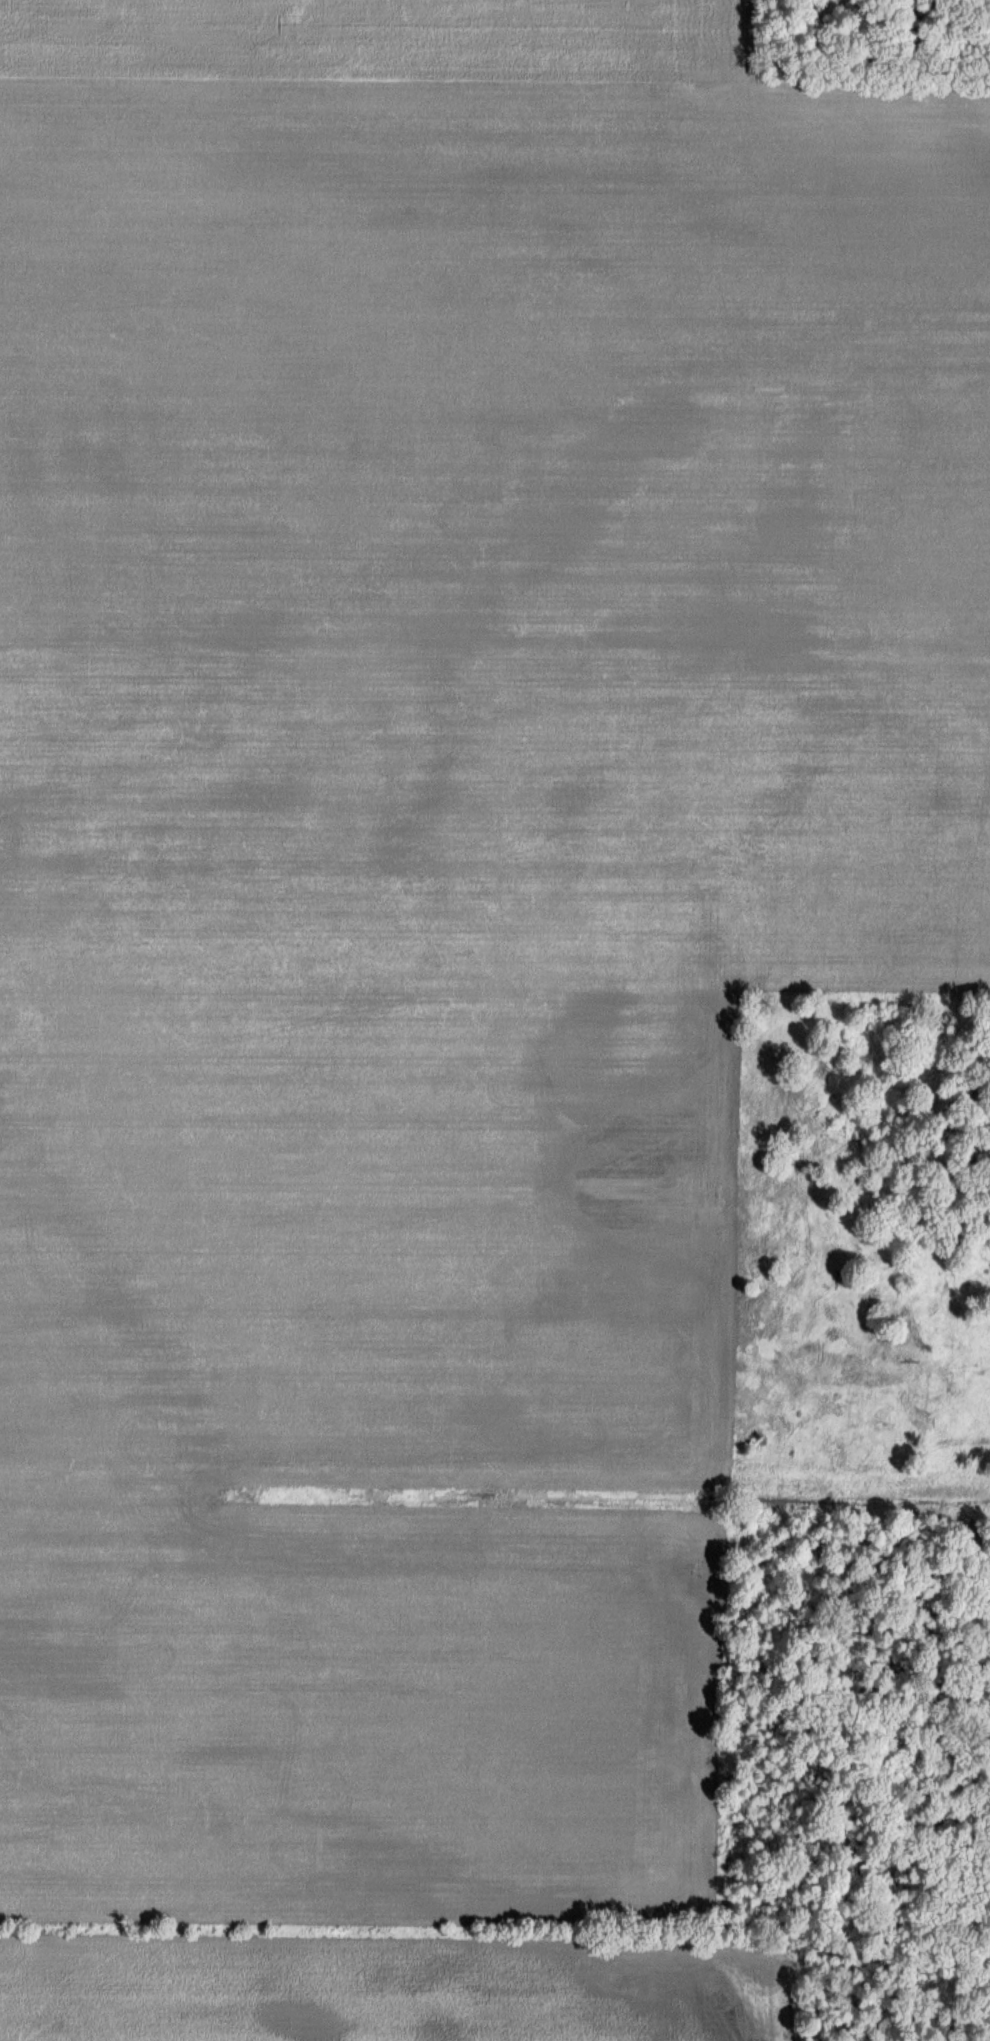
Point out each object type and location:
building: (755, 1441)

